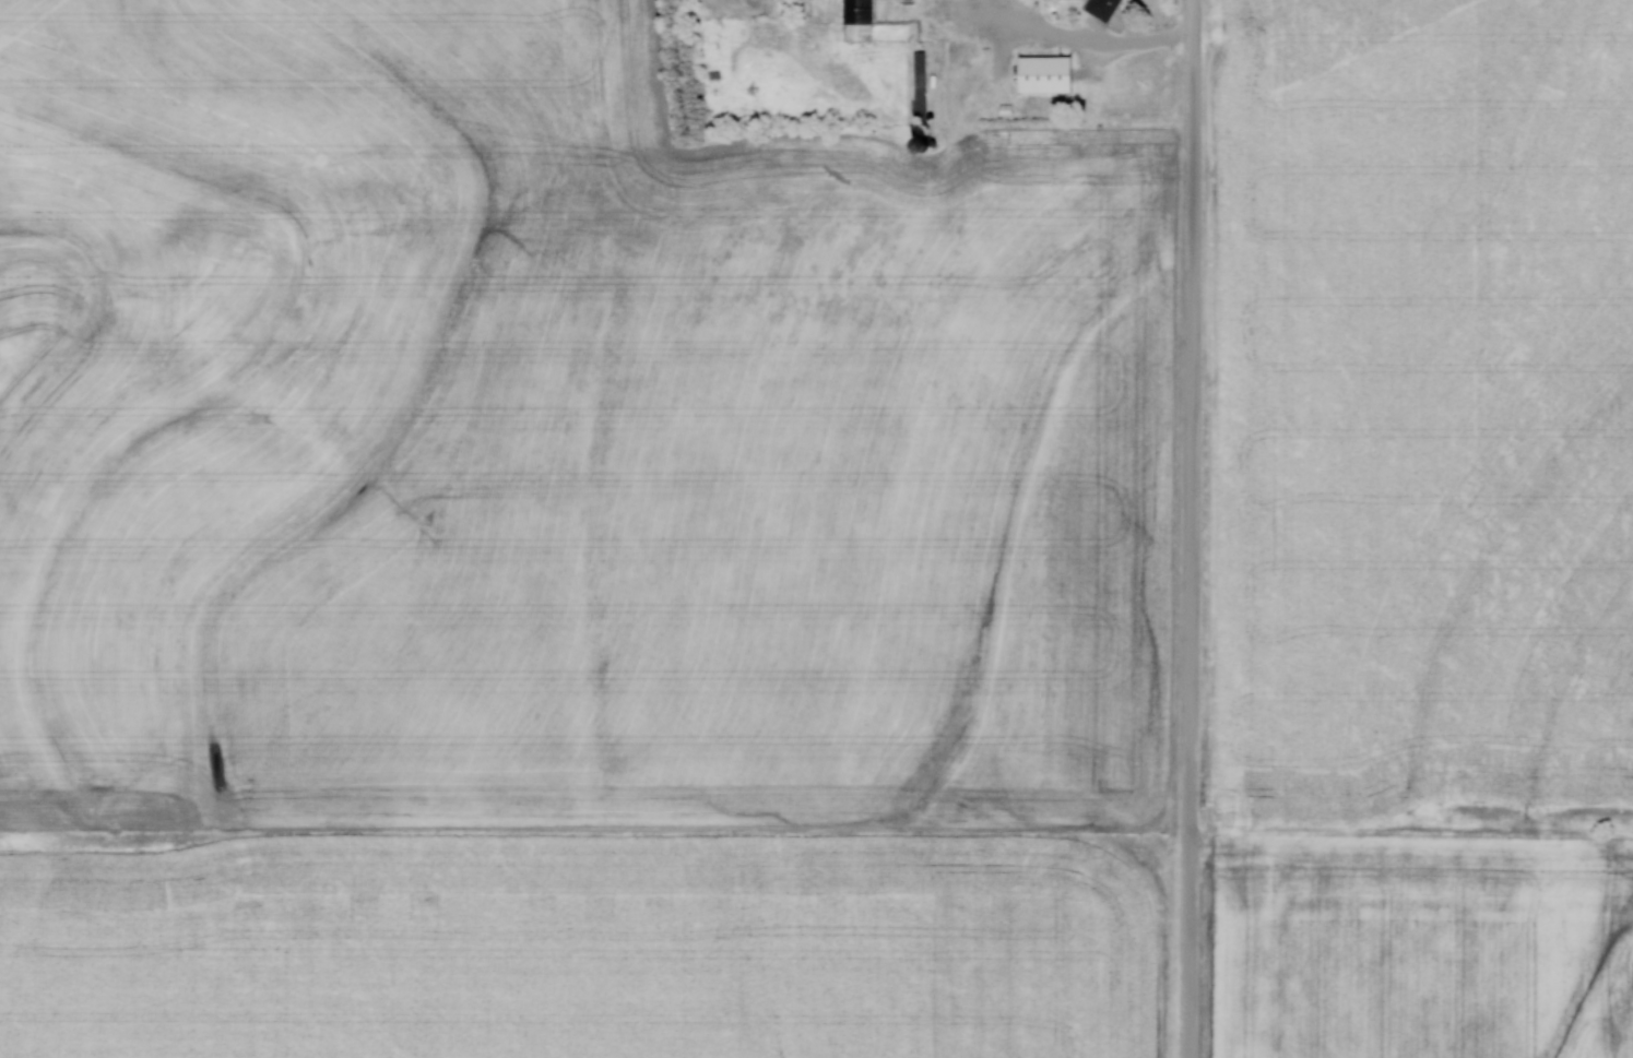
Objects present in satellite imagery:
building: (1099, 8)
building: (854, 20)
road: (1086, 45)
building: (1040, 72)
building: (916, 82)
road: (1194, 528)

